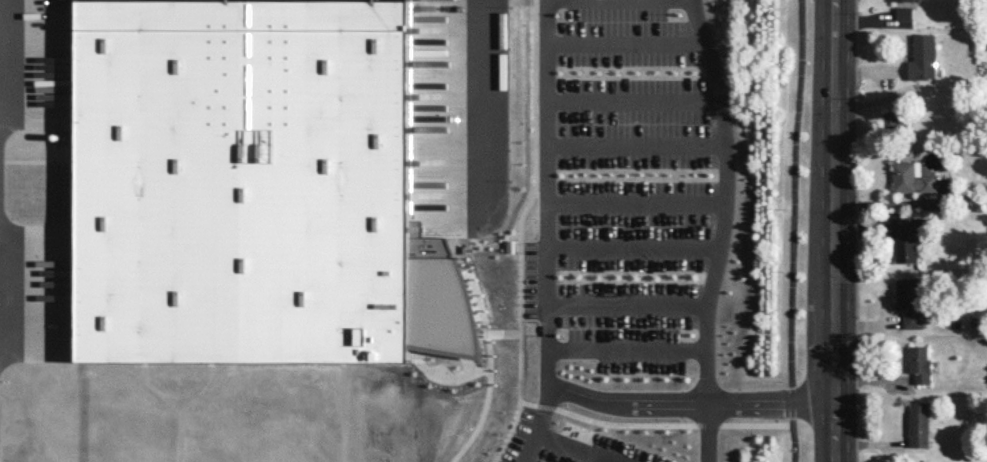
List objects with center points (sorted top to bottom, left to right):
building: (901, 0)
building: (904, 12)
road: (460, 31)
road: (608, 37)
road: (416, 48)
building: (923, 56)
road: (533, 92)
road: (603, 95)
road: (487, 101)
building: (897, 120)
road: (613, 142)
parking lot: (258, 173)
building: (910, 177)
building: (243, 180)
road: (608, 198)
road: (725, 198)
road: (836, 230)
road: (794, 231)
building: (909, 237)
road: (609, 245)
building: (909, 300)
road: (597, 304)
road: (604, 347)
building: (919, 363)
road: (691, 400)
road: (175, 407)
road: (342, 412)
road: (536, 423)
building: (918, 424)
road: (707, 431)
road: (580, 445)
building: (433, 449)

